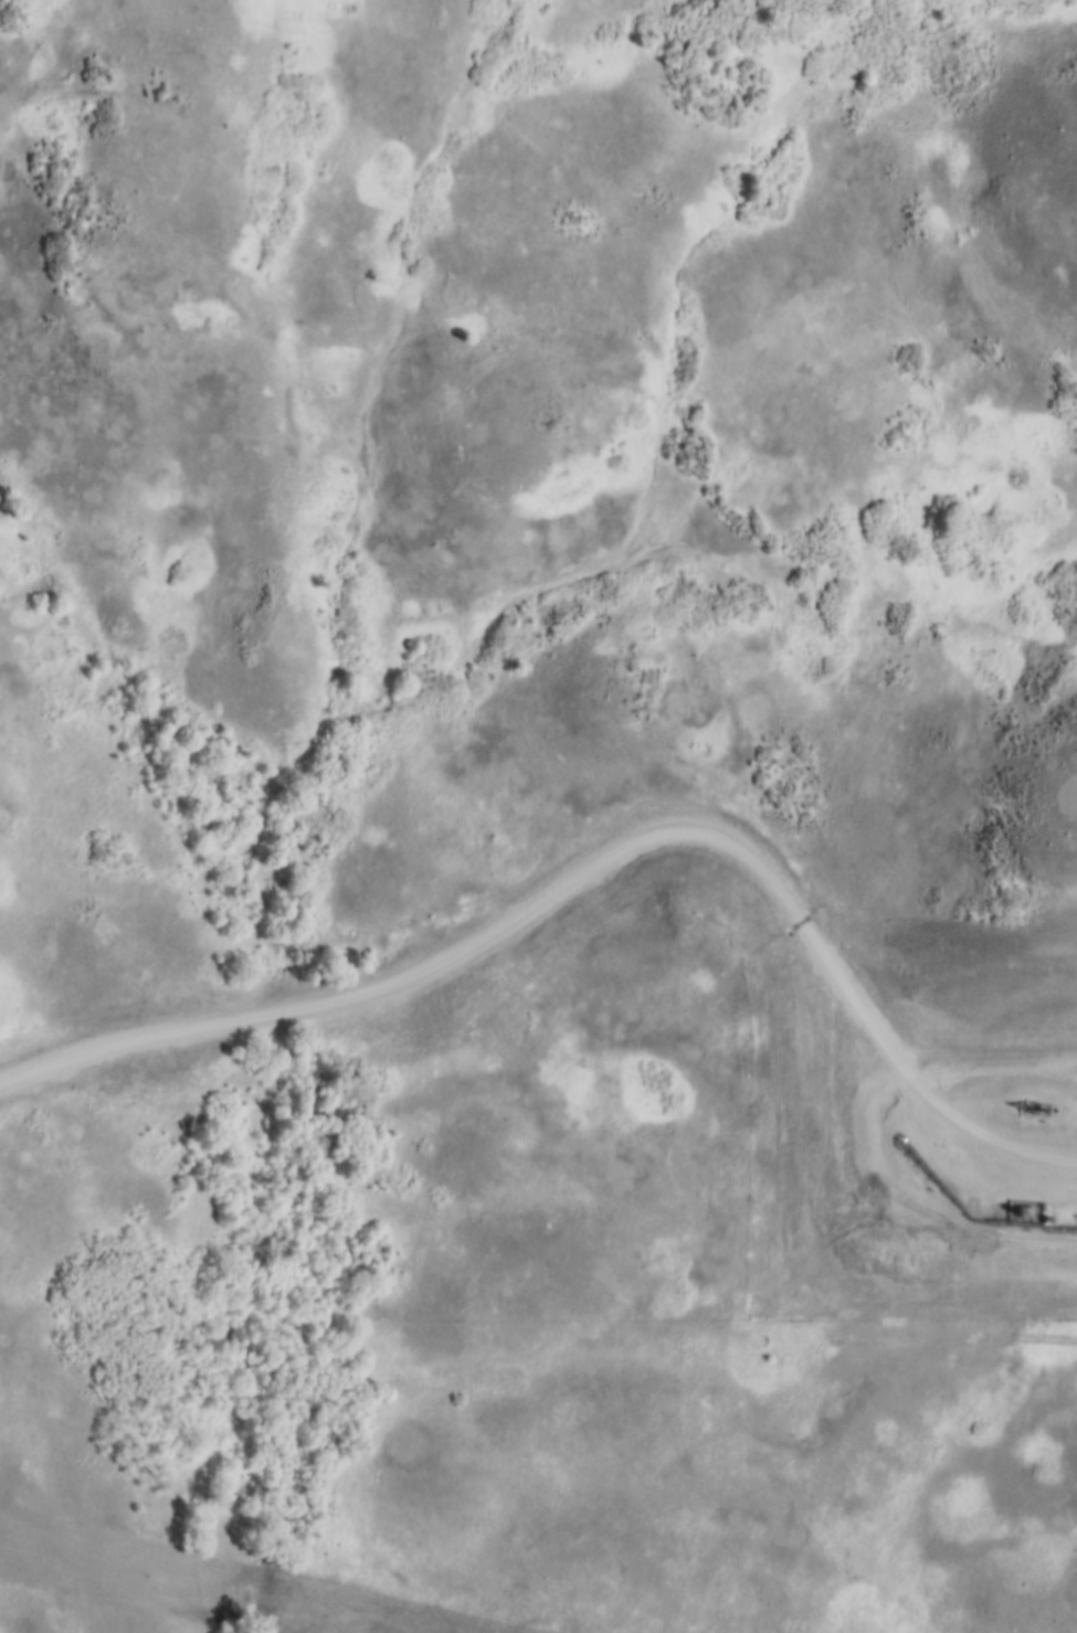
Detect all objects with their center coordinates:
petroleum well: (1041, 1110)

